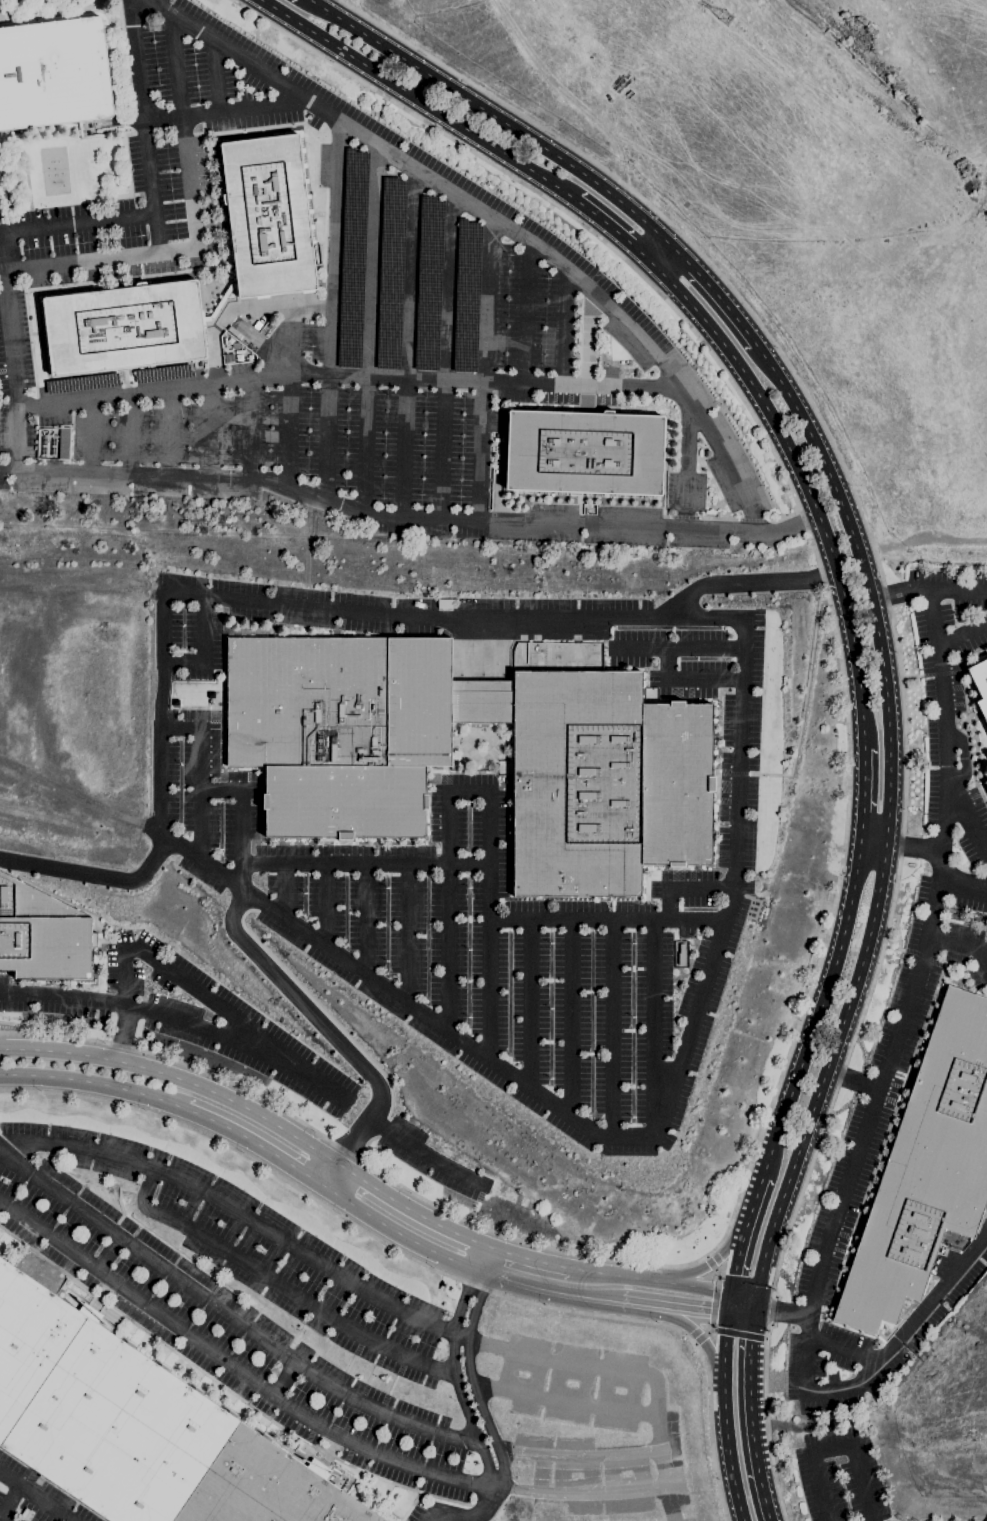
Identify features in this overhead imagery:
road: (156, 3)
power tower: (729, 21)
parking lot: (205, 61)
building: (53, 74)
road: (568, 97)
road: (419, 100)
road: (224, 109)
road: (493, 116)
road: (144, 126)
building: (268, 216)
road: (494, 218)
road: (193, 226)
road: (614, 232)
road: (660, 254)
road: (8, 277)
road: (713, 295)
building: (219, 303)
road: (330, 310)
road: (524, 311)
building: (269, 326)
building: (124, 327)
road: (370, 330)
road: (564, 330)
building: (235, 333)
road: (587, 344)
building: (235, 345)
road: (407, 345)
parking lot: (400, 348)
road: (445, 357)
road: (485, 370)
road: (351, 376)
road: (291, 408)
road: (253, 428)
road: (210, 430)
road: (171, 432)
road: (132, 433)
road: (93, 435)
building: (64, 443)
building: (583, 452)
road: (688, 465)
road: (803, 486)
road: (406, 522)
road: (746, 580)
road: (956, 589)
road: (899, 591)
road: (962, 632)
road: (683, 650)
road: (896, 650)
building: (576, 651)
road: (206, 652)
building: (548, 652)
building: (539, 657)
building: (558, 657)
building: (558, 666)
road: (689, 682)
building: (980, 686)
parking lot: (952, 728)
building: (338, 745)
road: (962, 759)
road: (739, 767)
road: (201, 774)
building: (985, 783)
road: (482, 791)
road: (863, 795)
road: (886, 818)
road: (242, 821)
road: (968, 822)
road: (873, 842)
road: (909, 846)
road: (365, 866)
road: (94, 878)
road: (837, 882)
road: (963, 883)
road: (683, 886)
road: (285, 891)
road: (324, 906)
road: (606, 920)
road: (366, 921)
road: (407, 934)
building: (42, 935)
road: (965, 945)
parking lot: (492, 954)
building: (681, 955)
road: (151, 957)
road: (908, 994)
road: (530, 1004)
road: (818, 1010)
road: (569, 1017)
road: (179, 1022)
road: (615, 1029)
road: (652, 1030)
road: (333, 1036)
parking lot: (237, 1045)
road: (174, 1078)
road: (851, 1081)
road: (95, 1083)
road: (254, 1144)
road: (420, 1150)
building: (926, 1169)
road: (405, 1206)
road: (235, 1209)
road: (399, 1234)
road: (745, 1235)
road: (108, 1256)
road: (526, 1259)
road: (491, 1262)
road: (424, 1263)
road: (712, 1263)
road: (651, 1281)
road: (279, 1284)
road: (553, 1291)
traffic signals: (731, 1293)
road: (743, 1296)
traffic signals: (756, 1299)
parking lot: (242, 1301)
road: (715, 1301)
road: (729, 1304)
road: (763, 1304)
road: (640, 1305)
road: (754, 1309)
road: (693, 1312)
road: (787, 1312)
road: (761, 1314)
road: (227, 1315)
traffic signals: (728, 1316)
road: (740, 1317)
traffic signals: (753, 1319)
building: (930, 1321)
road: (904, 1328)
road: (737, 1333)
road: (461, 1334)
road: (700, 1340)
road: (841, 1348)
road: (452, 1368)
road: (236, 1371)
road: (283, 1380)
road: (473, 1385)
road: (726, 1419)
road: (752, 1420)
building: (136, 1427)
road: (834, 1449)
road: (660, 1472)
road: (35, 1497)
road: (10, 1503)
road: (466, 1518)

